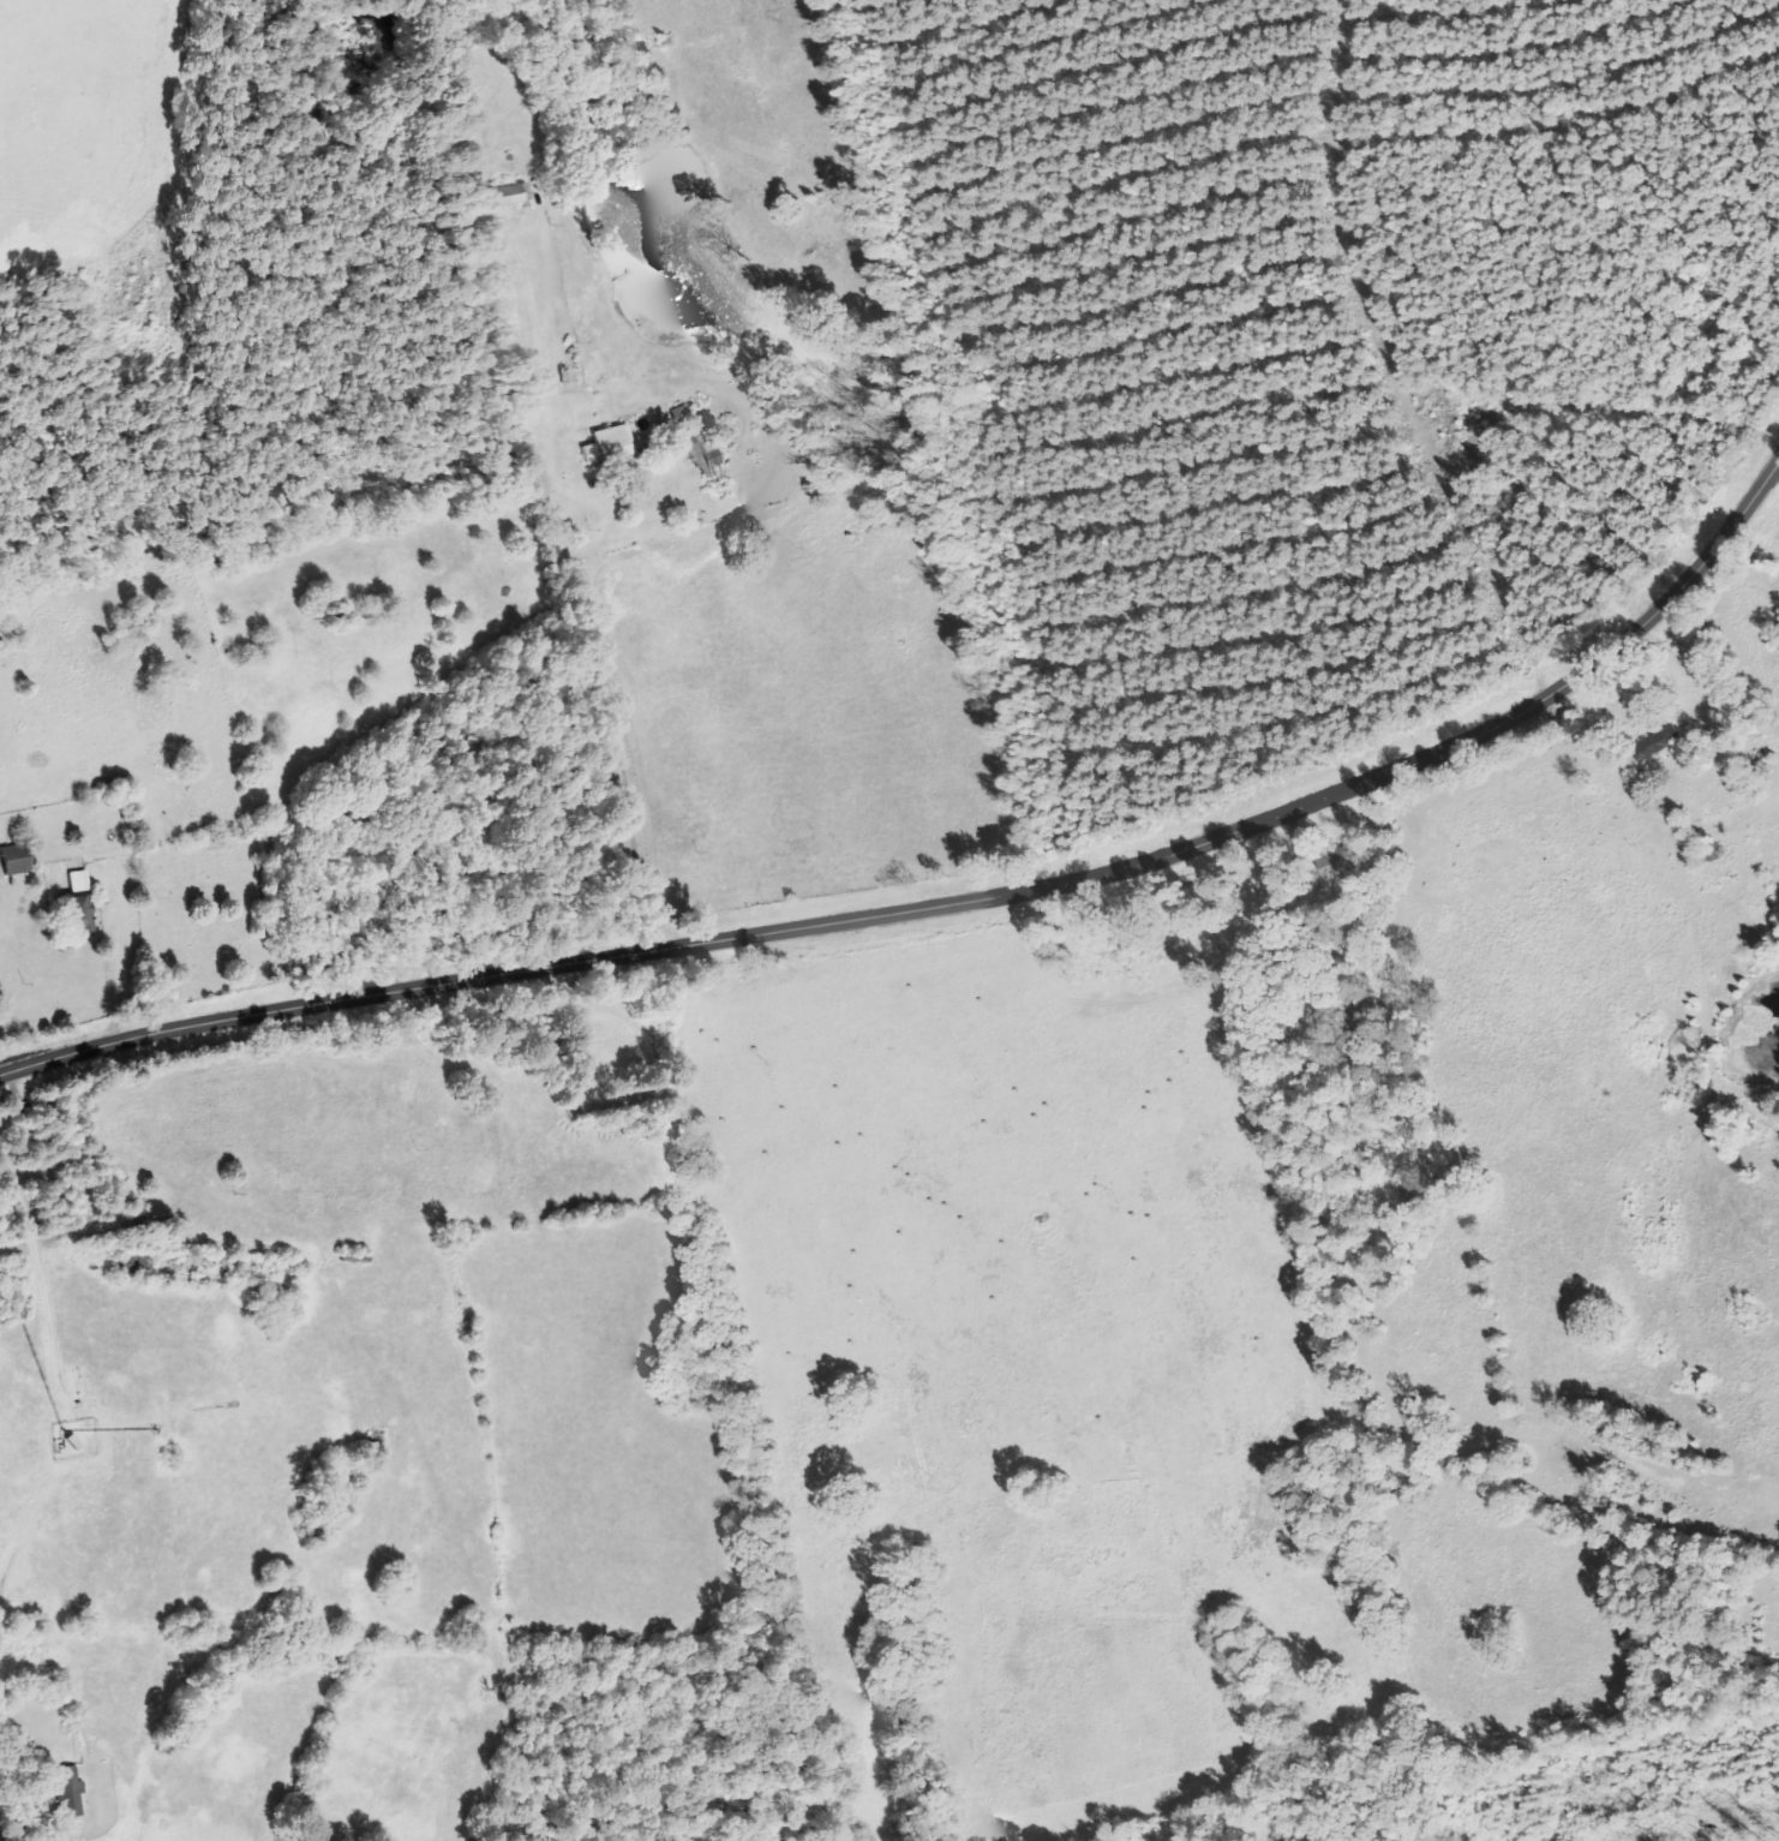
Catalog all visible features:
building: (522, 195)
building: (613, 447)
building: (714, 462)
building: (1665, 740)
building: (22, 859)
building: (83, 879)
road: (950, 903)
building: (72, 1781)

